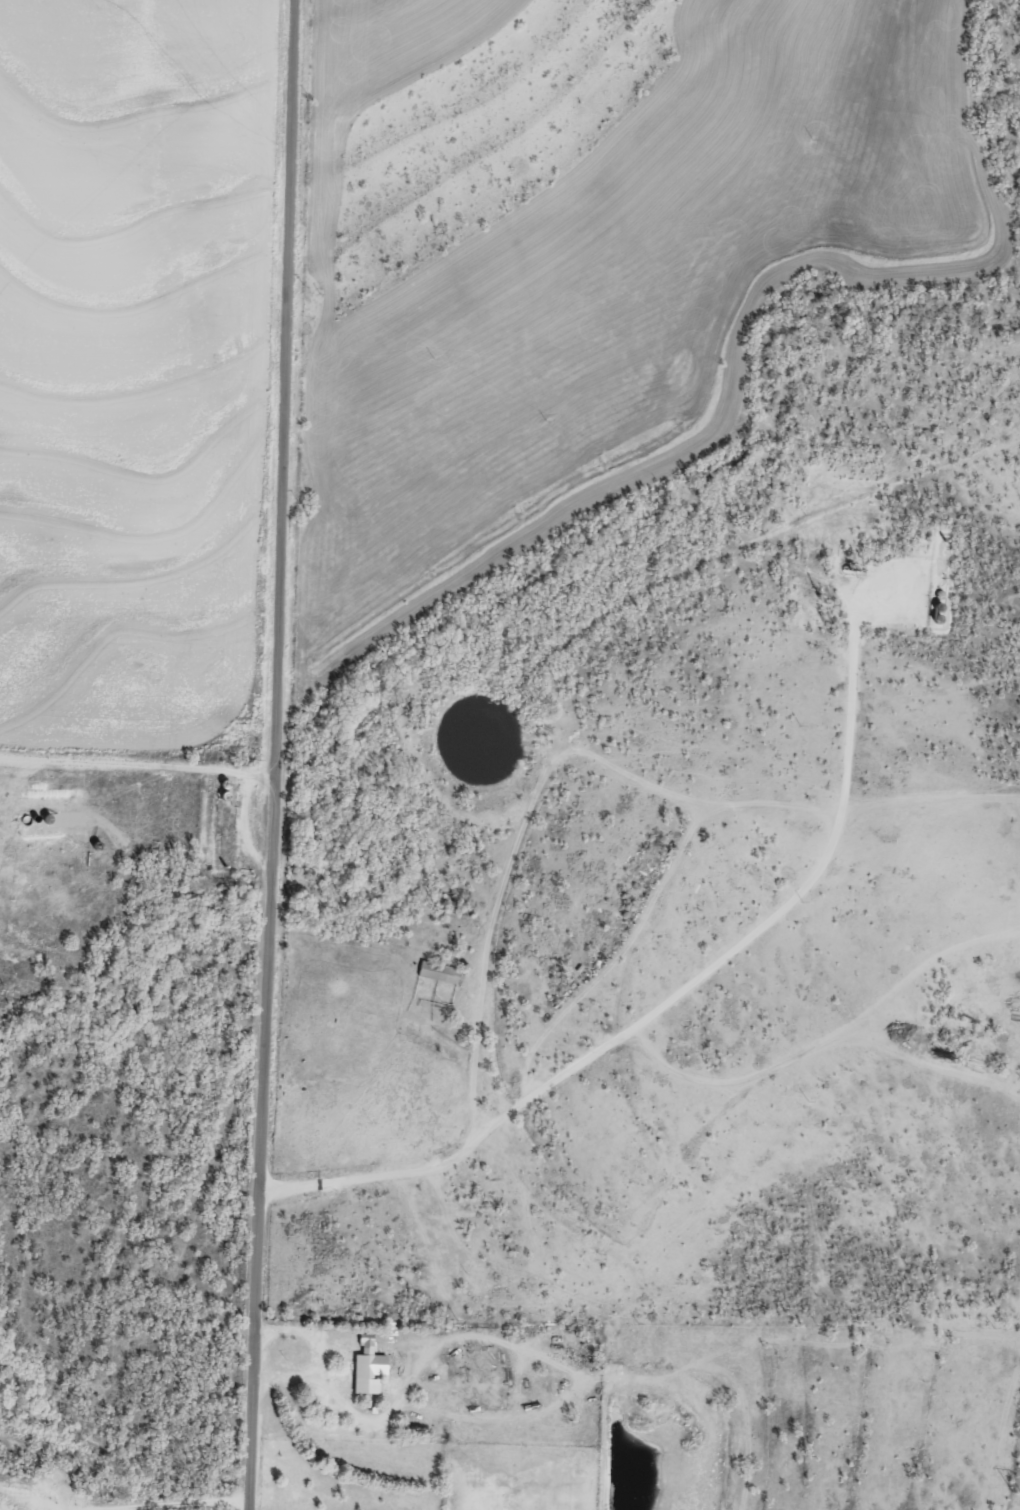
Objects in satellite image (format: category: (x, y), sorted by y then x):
road: (217, 9)
road: (276, 755)
building: (437, 971)
building: (365, 1366)
power tower: (1017, 1491)

